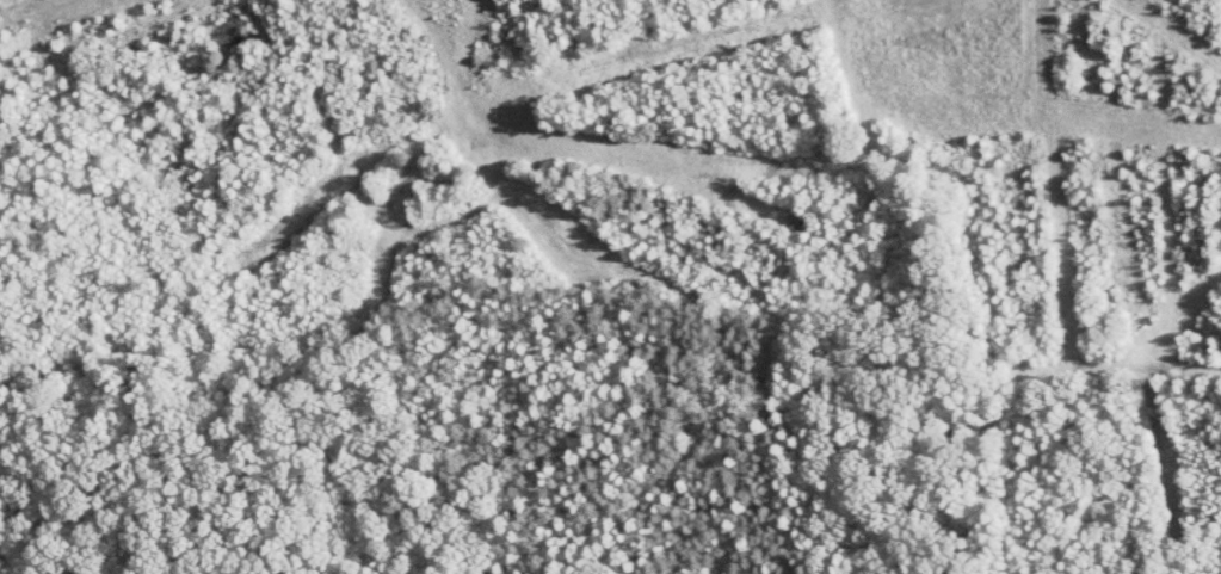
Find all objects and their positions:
road: (1066, 226)

